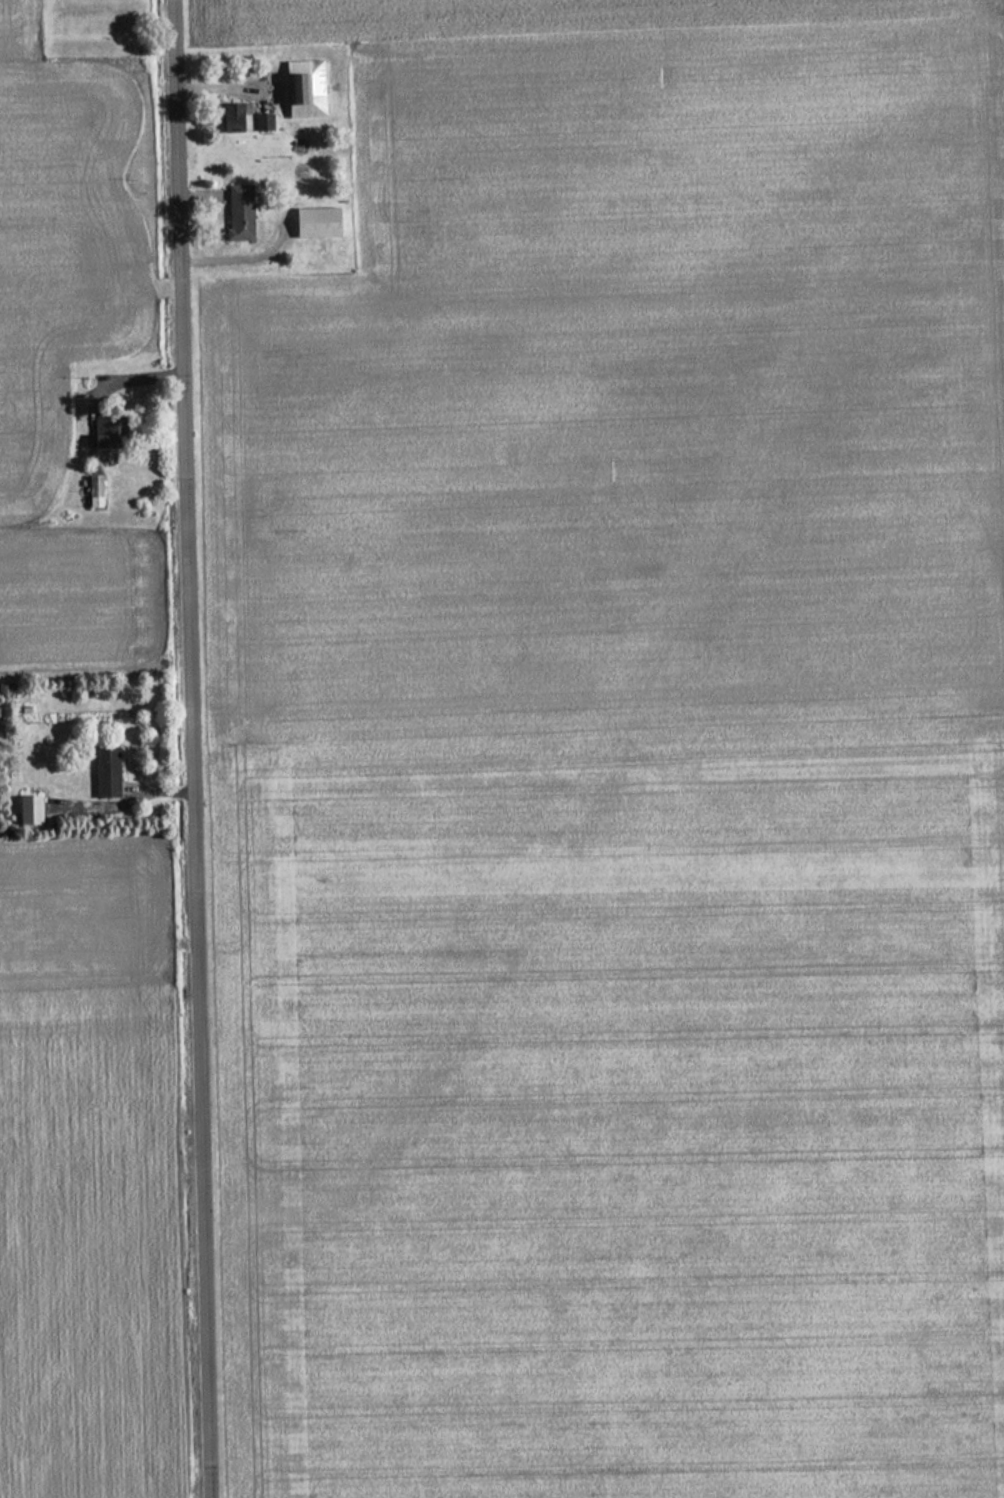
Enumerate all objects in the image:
crop: (19, 26)
building: (301, 88)
building: (313, 222)
building: (232, 231)
crop: (69, 354)
building: (90, 491)
building: (4, 689)
road: (195, 748)
crop: (617, 762)
building: (102, 772)
building: (23, 810)
crop: (87, 1171)

